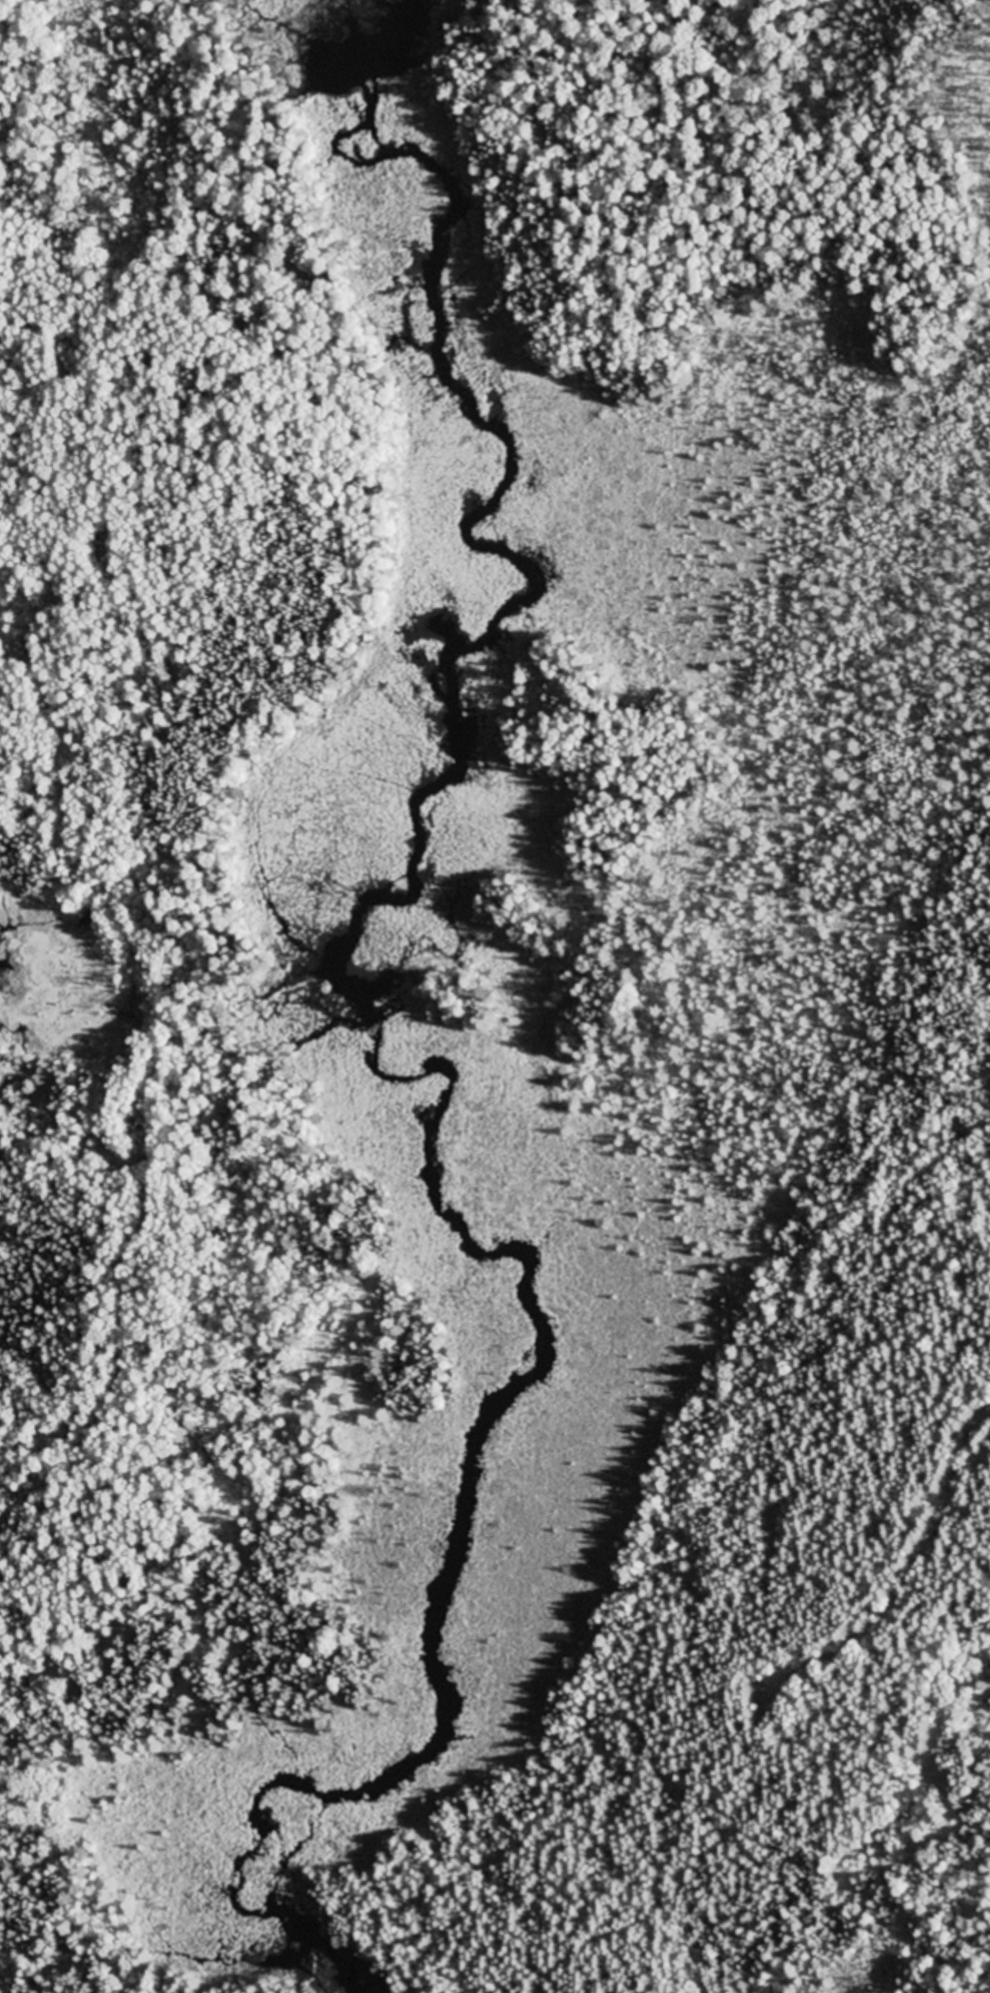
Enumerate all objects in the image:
road: (139, 1022)

